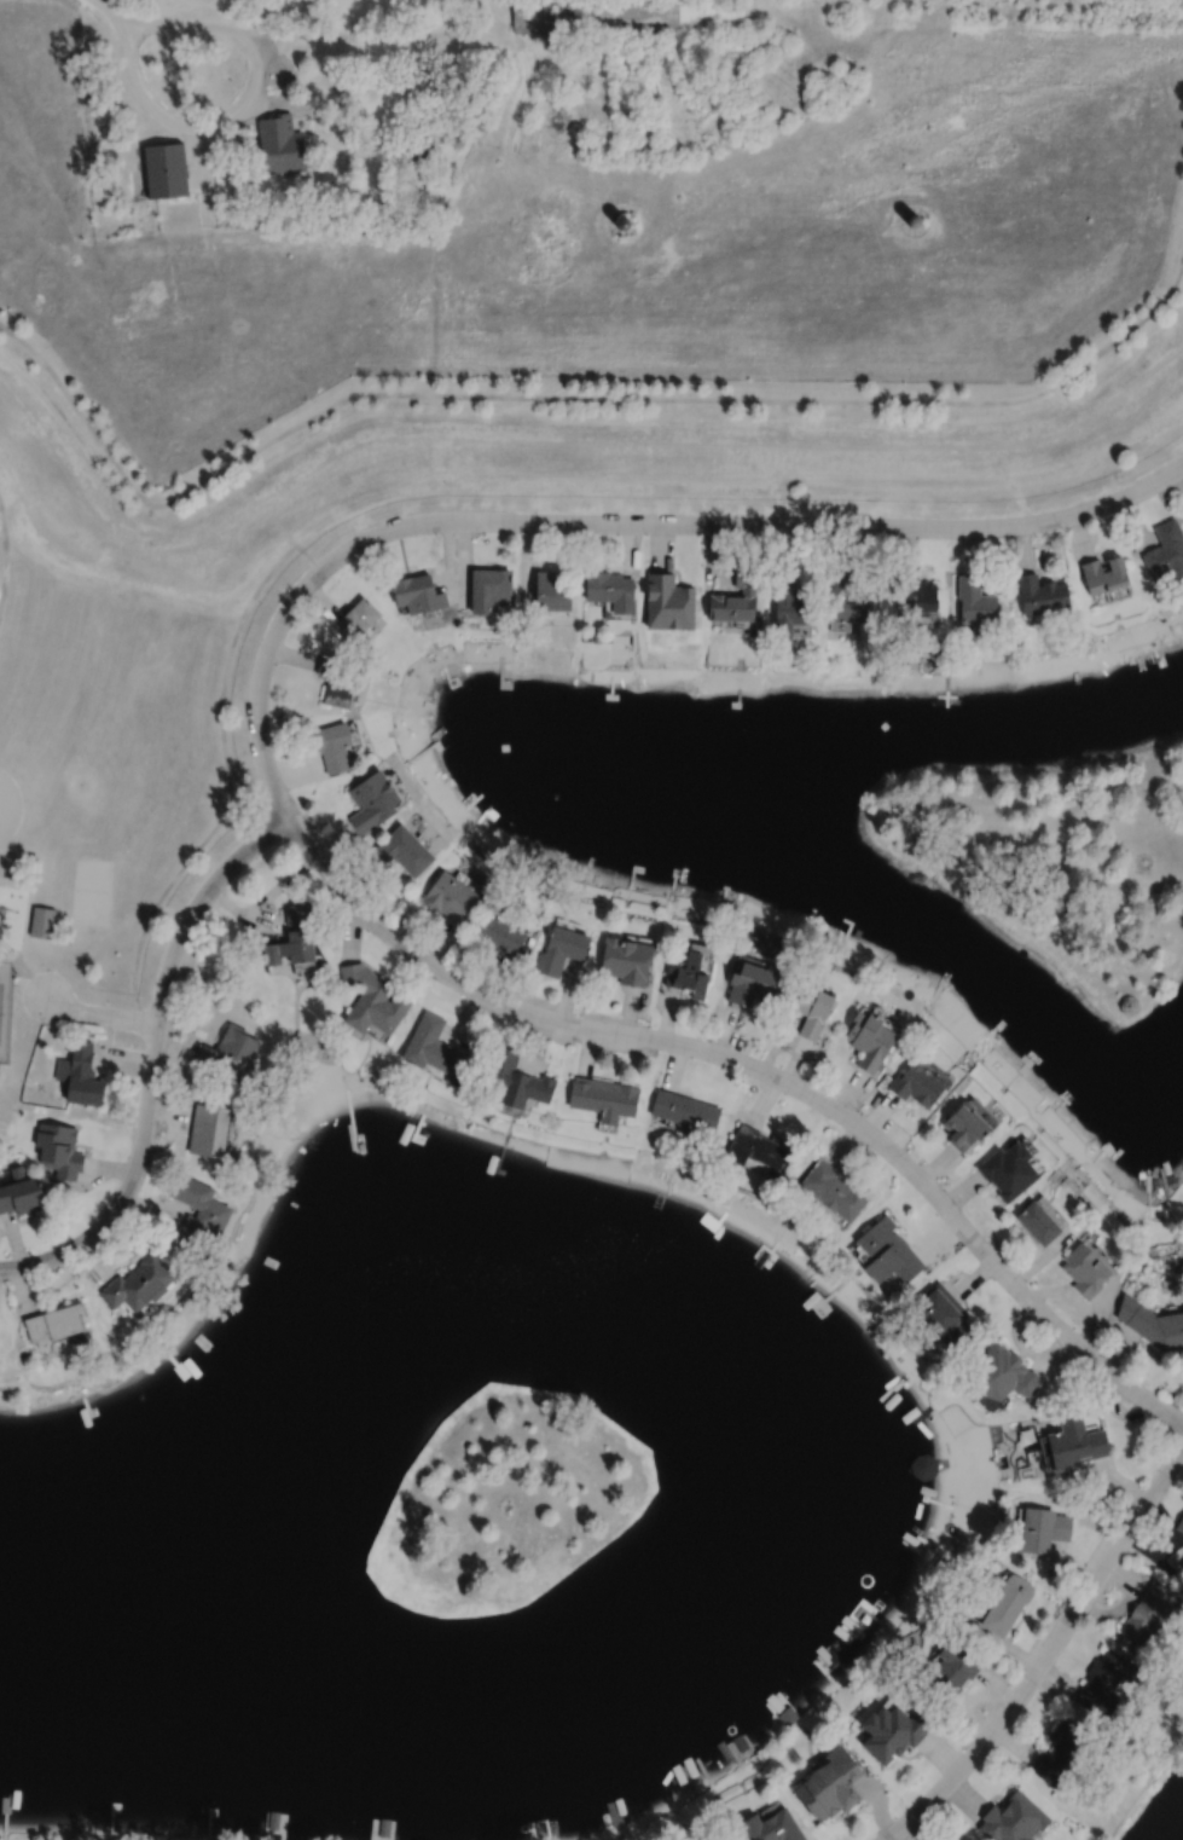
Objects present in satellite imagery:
road: (102, 4)
building: (628, 17)
building: (753, 24)
road: (354, 36)
road: (245, 108)
building: (457, 140)
building: (280, 145)
building: (416, 147)
building: (99, 168)
building: (166, 170)
building: (17, 180)
building: (115, 204)
building: (914, 221)
building: (622, 222)
building: (118, 317)
road: (568, 398)
road: (1097, 434)
road: (783, 463)
road: (271, 520)
street lamp: (1065, 528)
street lamp: (578, 536)
street lamp: (831, 538)
building: (1166, 550)
road: (4, 560)
building: (1103, 574)
building: (608, 585)
building: (489, 588)
building: (550, 590)
building: (417, 592)
building: (1040, 594)
building: (915, 595)
building: (736, 596)
building: (669, 601)
building: (851, 601)
building: (975, 603)
building: (790, 604)
building: (355, 619)
street lamp: (292, 624)
building: (597, 635)
building: (336, 679)
building: (332, 743)
road: (227, 785)
park: (112, 792)
road: (277, 795)
building: (376, 799)
park: (8, 808)
street lamp: (301, 808)
building: (404, 851)
park: (1060, 862)
park: (91, 892)
building: (451, 895)
road: (263, 898)
building: (41, 921)
building: (500, 935)
building: (292, 937)
building: (562, 948)
building: (626, 961)
street lamp: (450, 962)
road: (25, 971)
building: (692, 972)
building: (752, 979)
street lamp: (19, 994)
building: (372, 1001)
park: (5, 1007)
building: (807, 1013)
road: (99, 1014)
street lamp: (170, 1024)
street lamp: (649, 1024)
building: (869, 1041)
building: (435, 1049)
building: (230, 1053)
road: (152, 1058)
building: (79, 1076)
building: (516, 1081)
building: (918, 1082)
building: (603, 1099)
street lamp: (858, 1110)
building: (685, 1111)
building: (967, 1124)
building: (209, 1129)
building: (761, 1148)
building: (58, 1150)
building: (1008, 1171)
building: (835, 1190)
building: (21, 1192)
building: (198, 1209)
street lamp: (123, 1217)
building: (1037, 1223)
building: (889, 1250)
building: (1085, 1268)
building: (139, 1281)
street lamp: (1030, 1283)
building: (943, 1314)
building: (57, 1319)
building: (1152, 1321)
building: (1003, 1372)
building: (1075, 1441)
building: (924, 1465)
street lamp: (1173, 1480)
park: (506, 1500)
building: (1181, 1524)
building: (1043, 1528)
building: (1182, 1564)
building: (1007, 1604)
building: (1150, 1612)
road: (1046, 1653)
building: (955, 1668)
building: (1104, 1683)
street lamp: (1039, 1688)
building: (894, 1732)
building: (741, 1741)
building: (1060, 1749)
building: (831, 1786)
building: (6, 1801)
building: (1014, 1819)
building: (541, 1828)
building: (777, 1828)
building: (717, 1839)

